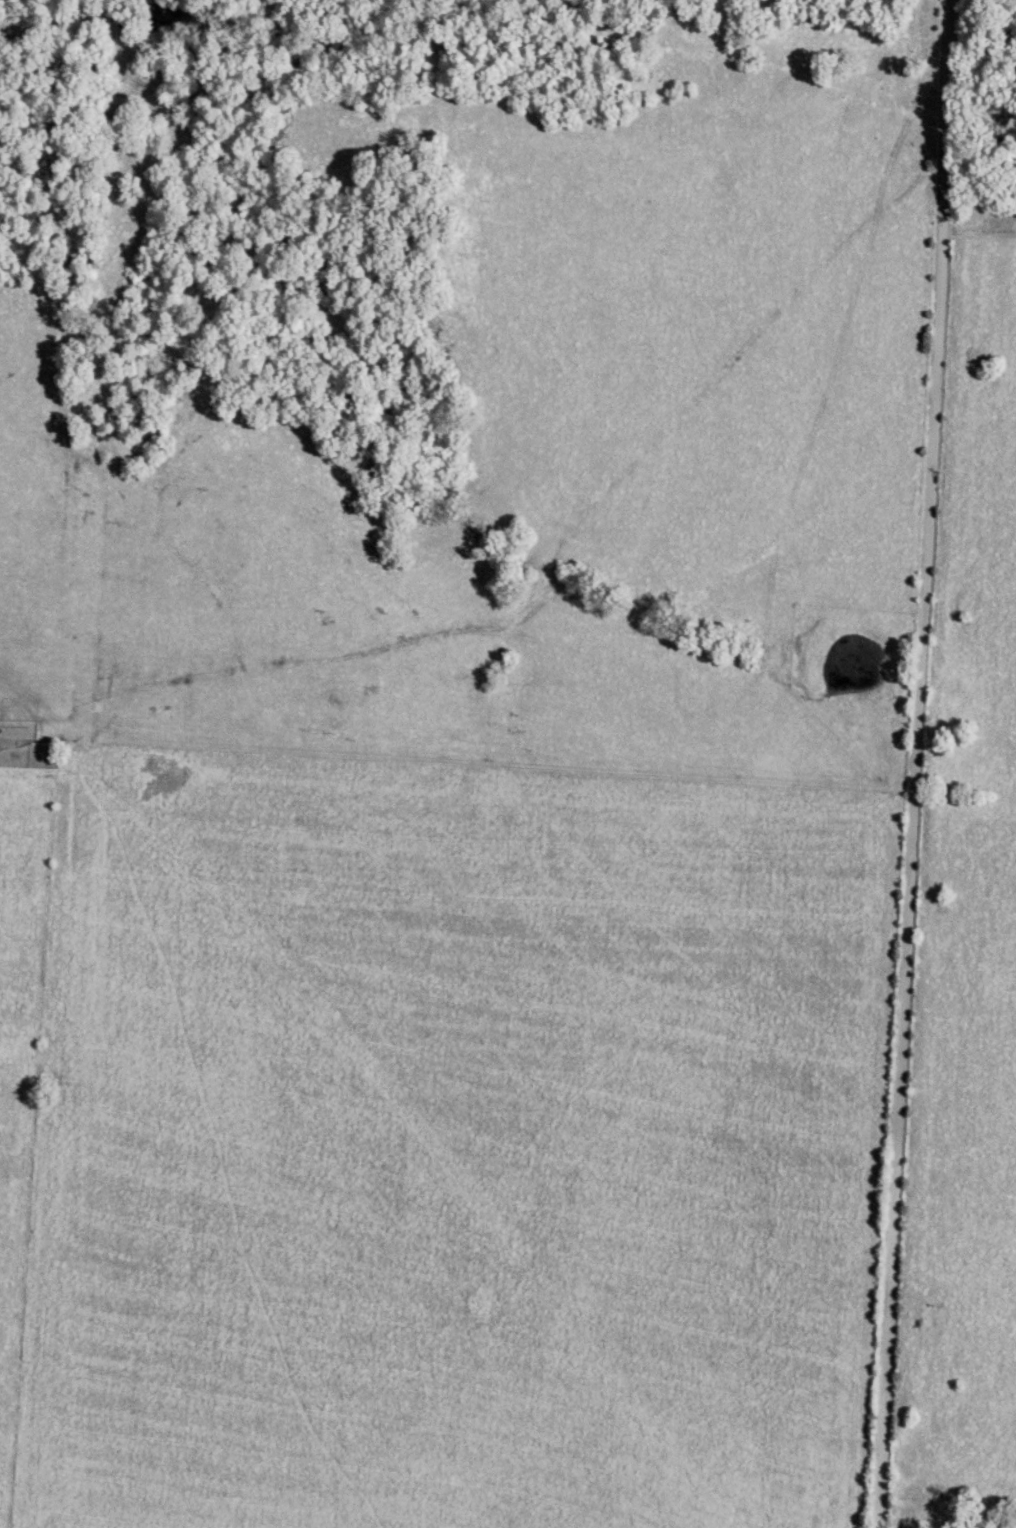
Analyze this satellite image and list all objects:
road: (913, 763)

